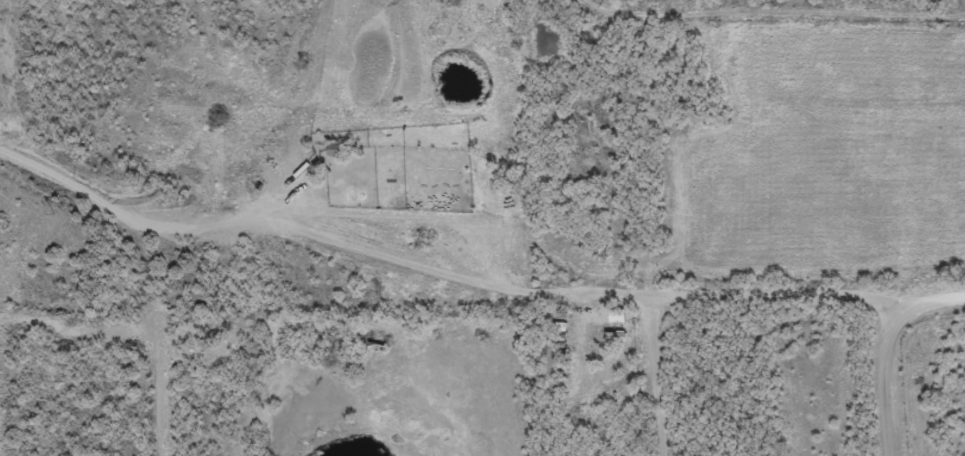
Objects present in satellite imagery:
road: (443, 287)
road: (932, 302)
building: (614, 324)
road: (656, 377)
road: (886, 382)

